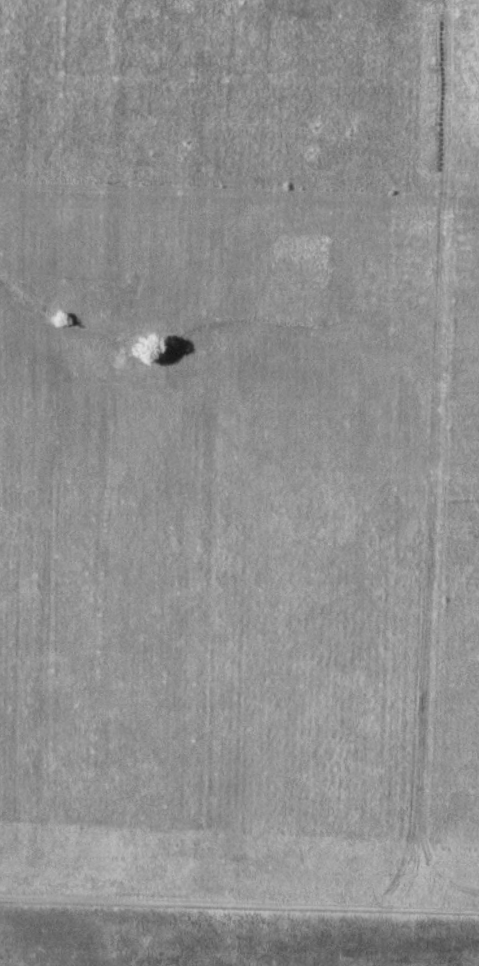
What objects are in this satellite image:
road: (239, 843)
road: (239, 897)

